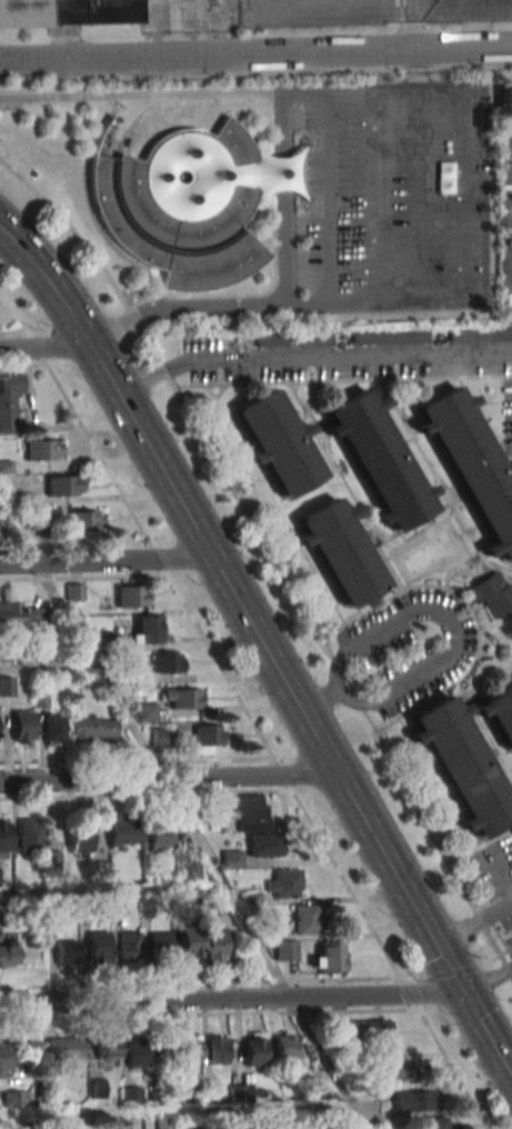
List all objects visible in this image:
building: (68, 11)
road: (414, 26)
road: (463, 49)
road: (208, 57)
road: (415, 69)
road: (372, 89)
road: (140, 94)
building: (505, 102)
road: (120, 119)
building: (277, 173)
road: (464, 193)
road: (418, 194)
road: (375, 196)
parking lot: (398, 196)
road: (329, 197)
road: (283, 198)
building: (182, 206)
road: (375, 303)
road: (181, 306)
building: (480, 336)
building: (390, 338)
building: (293, 339)
road: (44, 349)
road: (311, 360)
building: (9, 400)
building: (278, 443)
building: (43, 450)
building: (379, 460)
building: (472, 466)
building: (64, 486)
building: (84, 520)
building: (339, 554)
road: (106, 560)
building: (74, 591)
building: (492, 593)
building: (131, 596)
building: (20, 616)
road: (398, 621)
building: (147, 630)
road: (263, 648)
building: (168, 662)
road: (50, 669)
building: (7, 686)
road: (391, 691)
building: (182, 699)
road: (319, 700)
building: (145, 712)
building: (499, 715)
building: (23, 726)
building: (54, 728)
building: (92, 728)
building: (208, 735)
building: (159, 738)
building: (462, 767)
road: (168, 779)
road: (180, 810)
building: (254, 825)
building: (123, 831)
building: (30, 835)
building: (4, 837)
building: (80, 837)
building: (161, 837)
building: (231, 859)
building: (52, 861)
building: (187, 871)
building: (0, 877)
building: (284, 885)
road: (112, 889)
building: (118, 908)
building: (0, 909)
building: (307, 919)
road: (473, 925)
building: (191, 943)
building: (162, 945)
building: (215, 946)
building: (98, 947)
building: (129, 947)
building: (285, 950)
building: (8, 952)
building: (67, 952)
building: (329, 959)
traffic signals: (462, 995)
road: (231, 1000)
building: (364, 1030)
building: (108, 1046)
building: (284, 1046)
building: (64, 1049)
building: (190, 1049)
building: (215, 1049)
building: (253, 1049)
building: (164, 1050)
building: (135, 1052)
building: (4, 1060)
building: (398, 1072)
building: (240, 1092)
building: (131, 1096)
building: (12, 1098)
building: (413, 1100)
road: (173, 1109)
building: (163, 1122)
building: (433, 1122)
building: (120, 1123)

